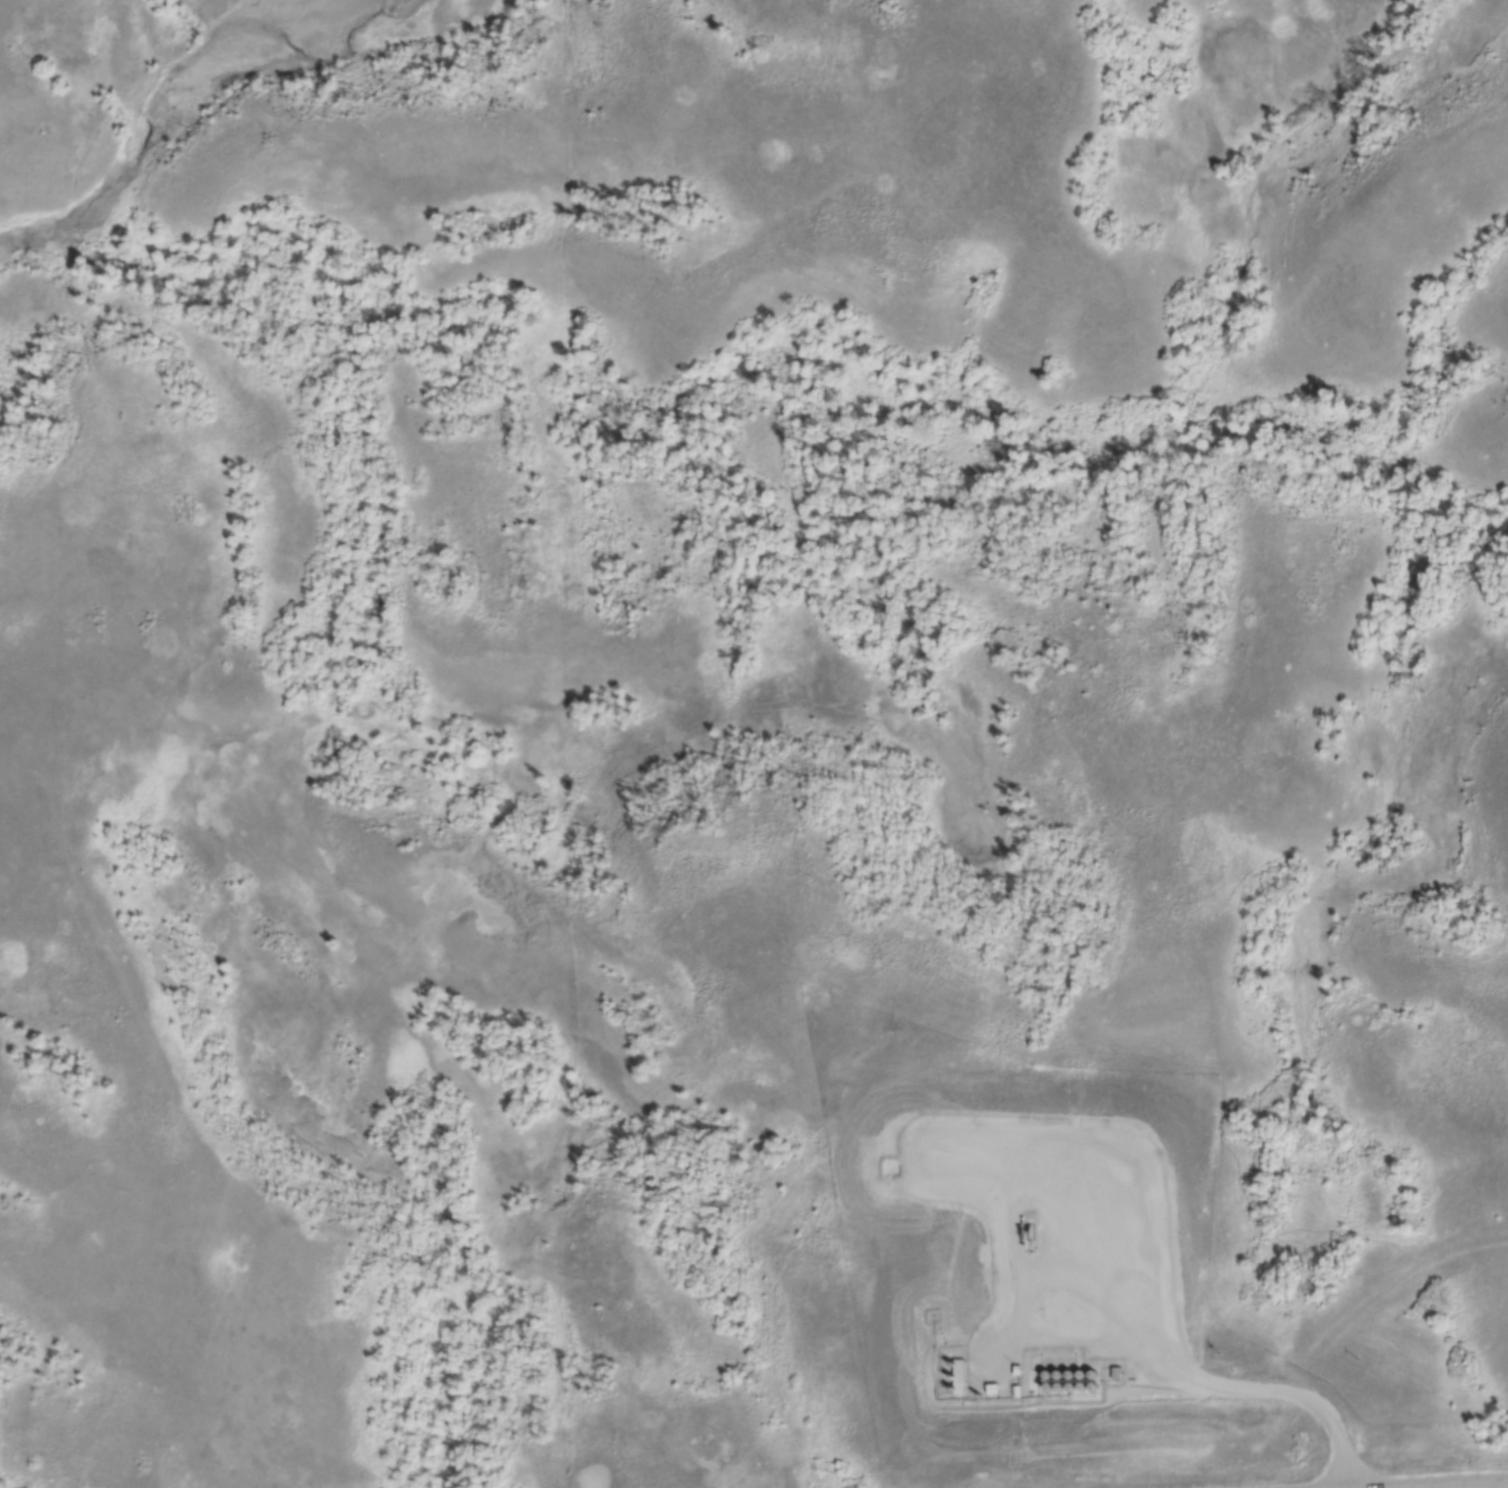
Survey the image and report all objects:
petroleum well: (1027, 1232)
building: (1044, 1355)
storage tank: (1044, 1355)
building: (1058, 1355)
storage tank: (1058, 1355)
building: (1069, 1356)
storage tank: (1069, 1356)
building: (1013, 1365)
building: (1115, 1368)
building: (1070, 1369)
storage tank: (1070, 1369)
building: (1047, 1370)
storage tank: (1047, 1370)
building: (1059, 1370)
storage tank: (1059, 1370)
building: (1082, 1370)
storage tank: (1082, 1370)
building: (1094, 1370)
storage tank: (1094, 1370)
building: (1094, 1381)
storage tank: (1094, 1381)
building: (1048, 1382)
storage tank: (1048, 1382)
building: (1060, 1382)
storage tank: (1060, 1382)
building: (1071, 1382)
storage tank: (1071, 1382)
building: (1082, 1382)
storage tank: (1082, 1382)
building: (988, 1384)
building: (1013, 1387)
road: (1469, 1485)

